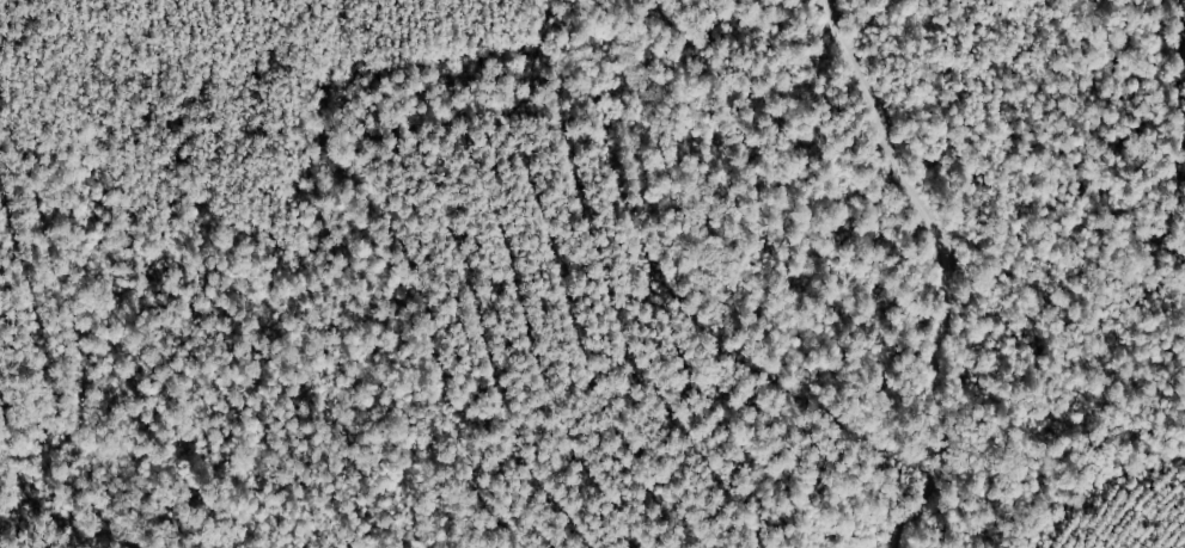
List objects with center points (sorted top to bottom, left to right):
road: (941, 271)

